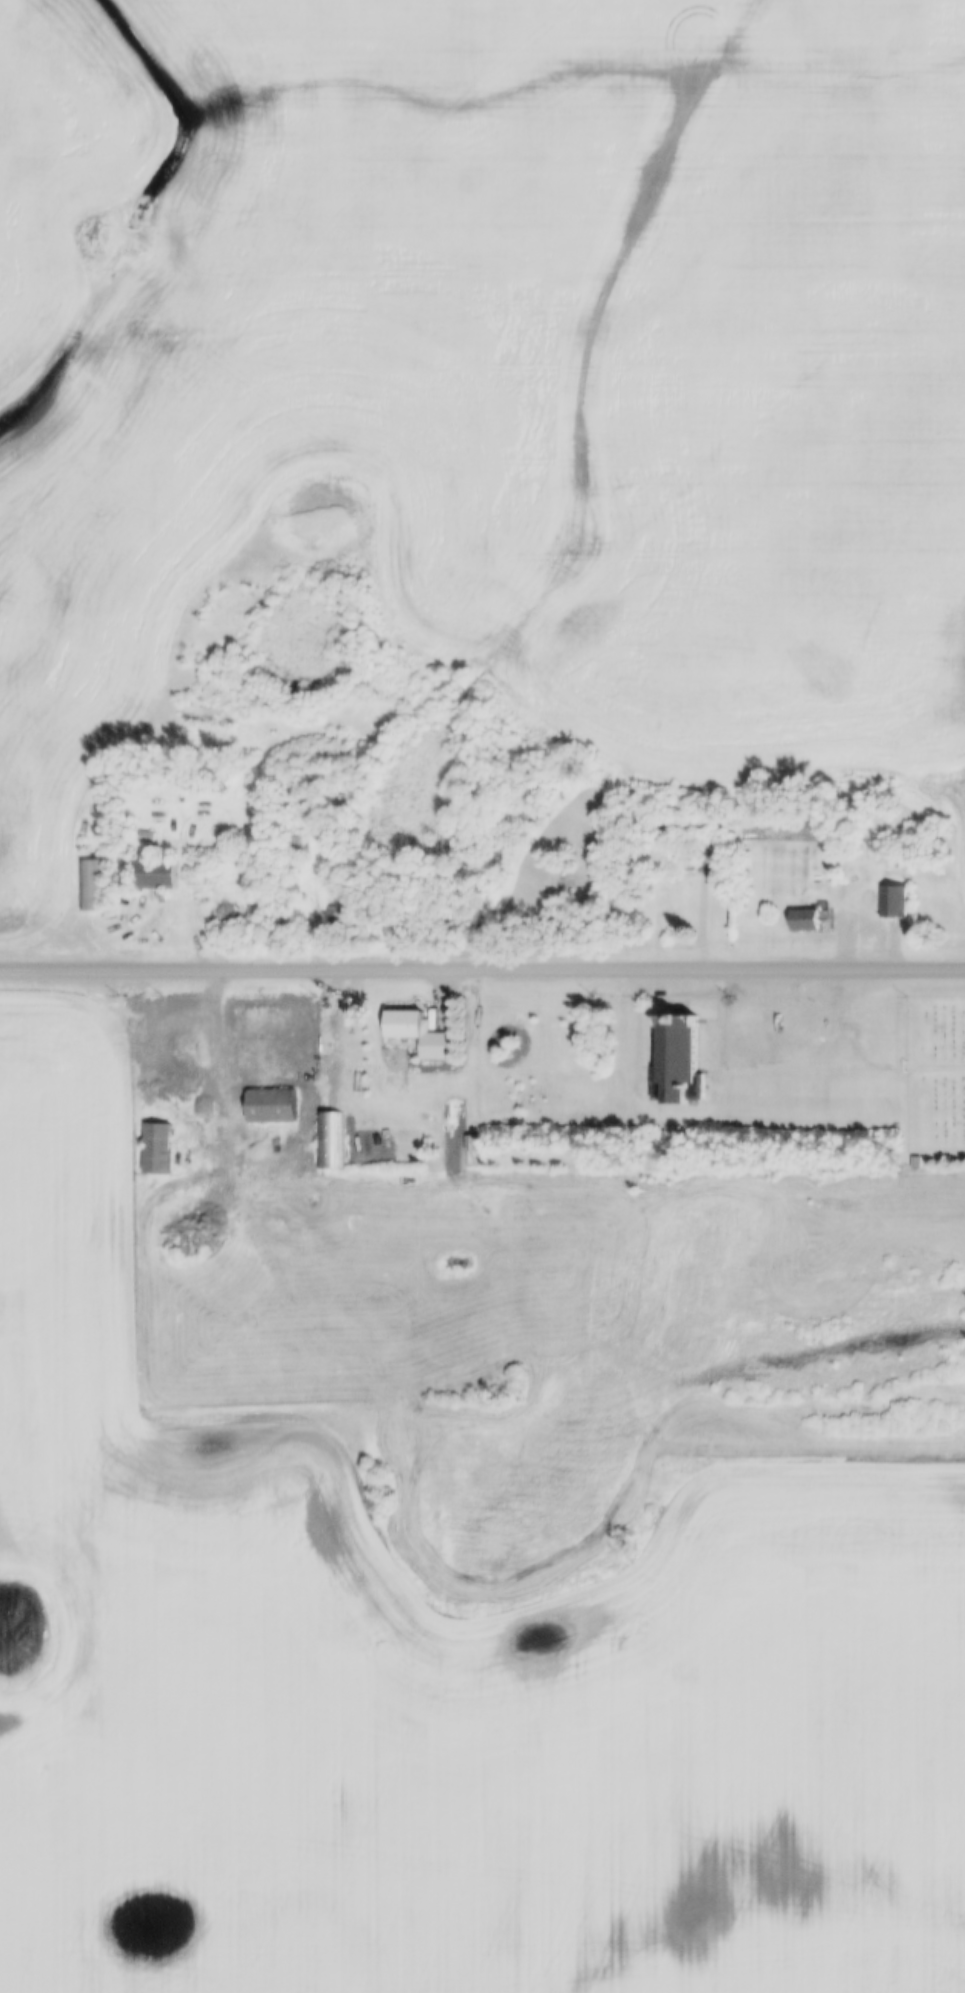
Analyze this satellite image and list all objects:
building: (299, 844)
building: (709, 858)
building: (901, 861)
building: (153, 873)
building: (96, 884)
building: (897, 899)
building: (715, 915)
building: (805, 920)
road: (482, 963)
road: (819, 1004)
building: (412, 1033)
building: (677, 1060)
road: (881, 1061)
park: (937, 1083)
building: (270, 1104)
building: (331, 1139)
building: (156, 1147)
building: (916, 1160)

